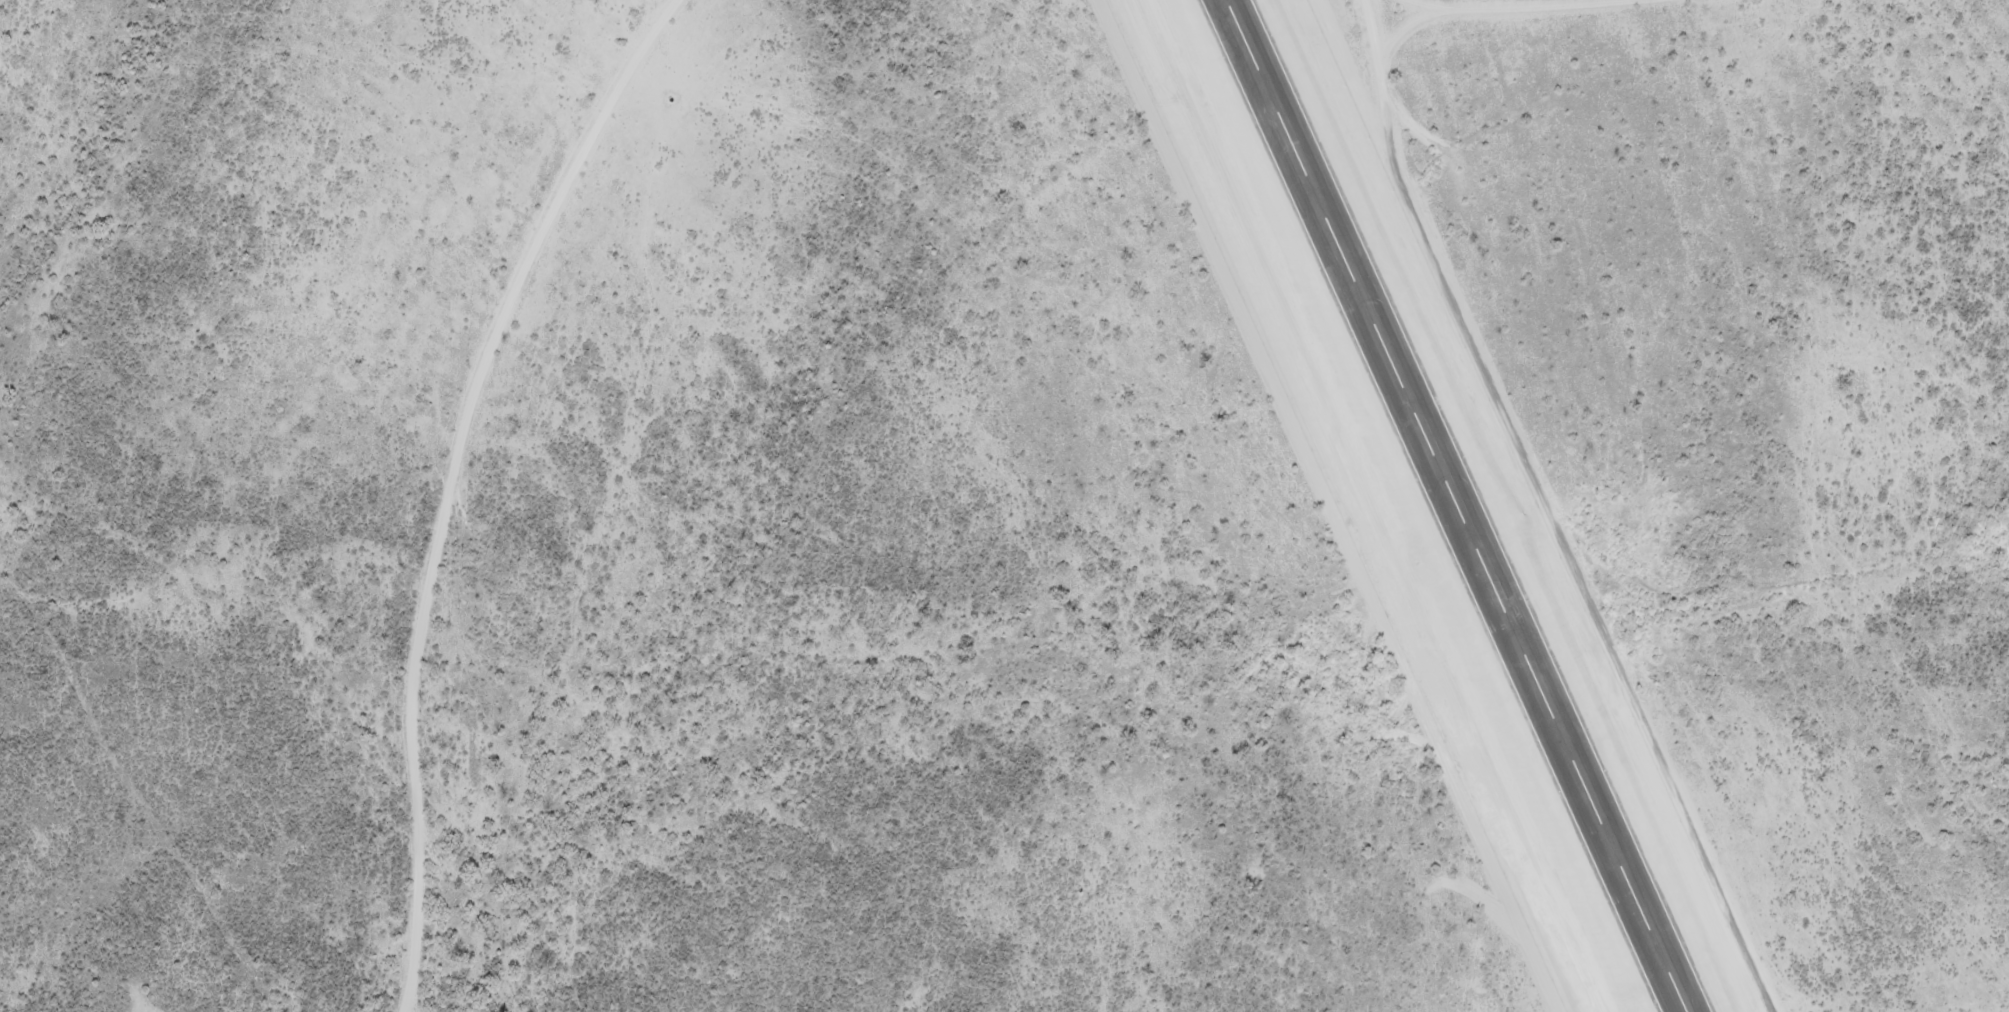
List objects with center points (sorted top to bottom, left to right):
road: (1536, 7)
road: (1406, 167)
road: (455, 481)
airport runway: (1450, 506)
road: (1609, 672)

